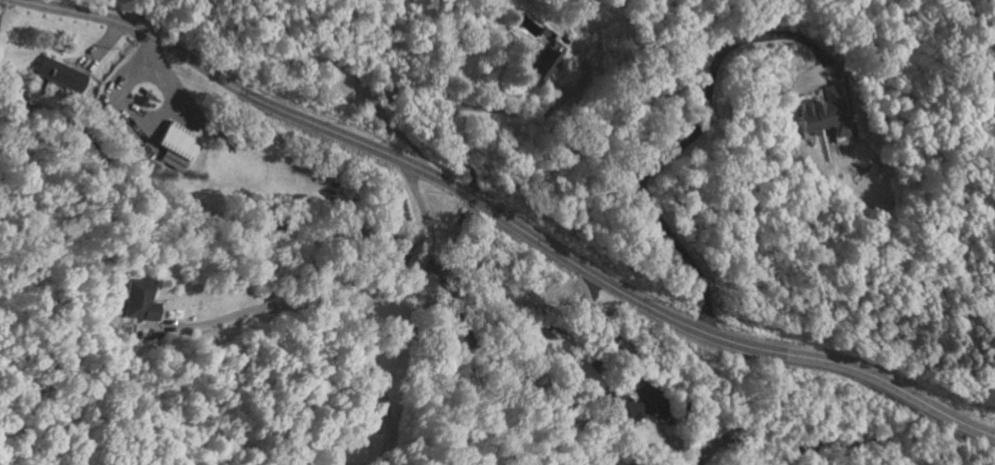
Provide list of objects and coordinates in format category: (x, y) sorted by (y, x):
road: (455, 54)
building: (545, 60)
building: (64, 76)
road: (565, 98)
building: (823, 114)
road: (142, 125)
road: (685, 138)
road: (463, 156)
road: (507, 221)
road: (421, 255)
building: (138, 301)
road: (245, 312)
road: (611, 337)
road: (377, 389)

